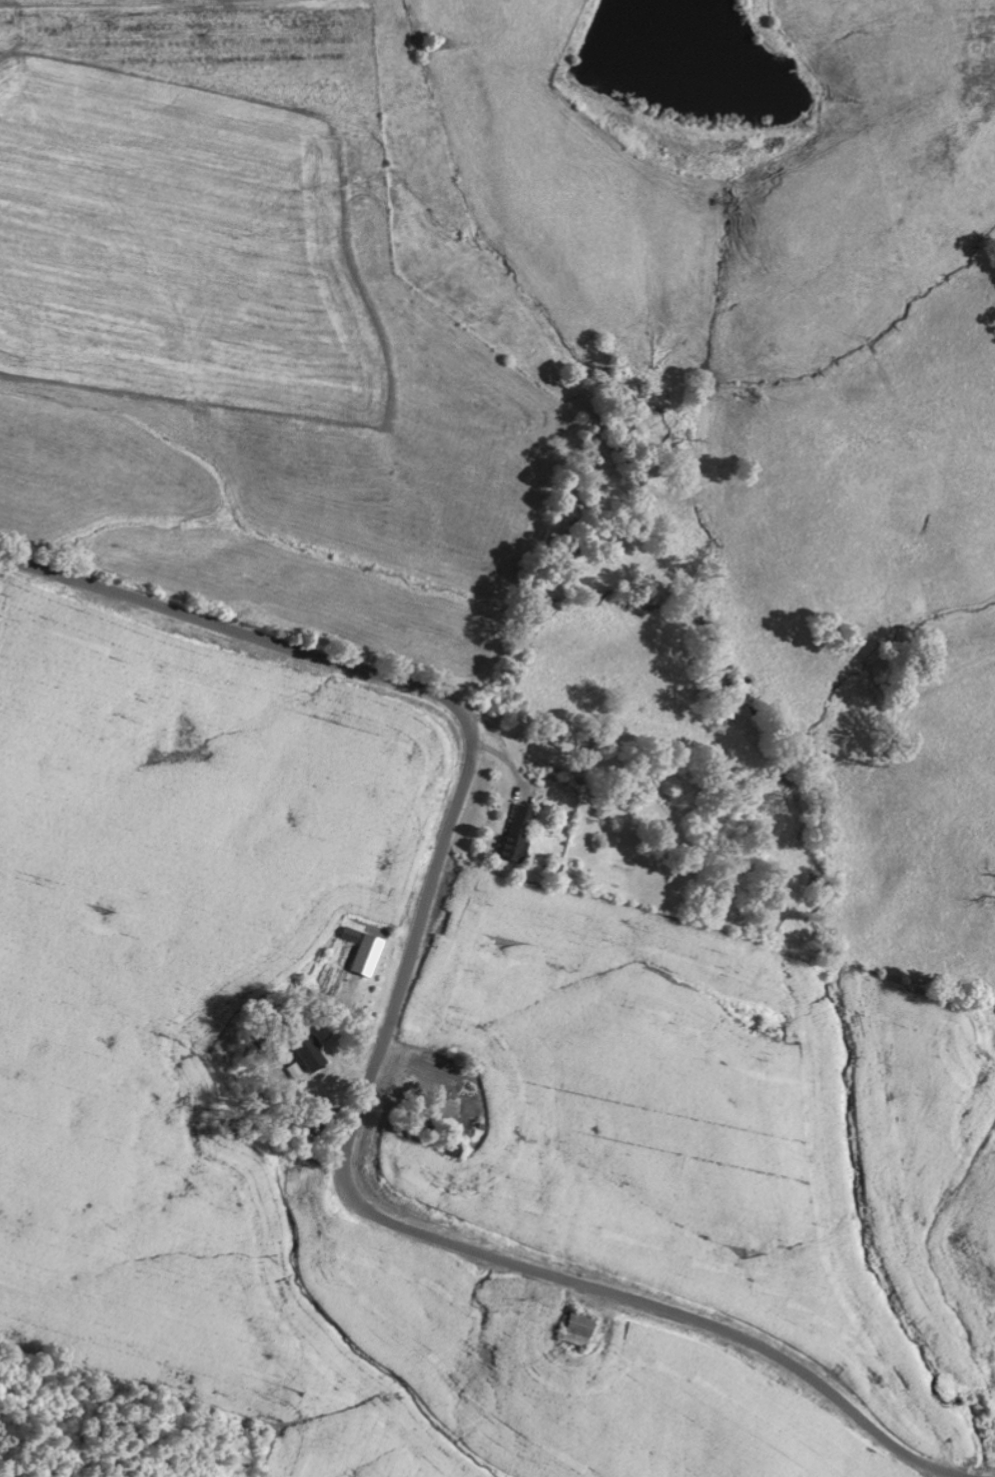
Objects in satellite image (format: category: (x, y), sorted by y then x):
building: (517, 833)
building: (365, 954)
road: (384, 1043)
building: (310, 1053)
building: (575, 1329)

